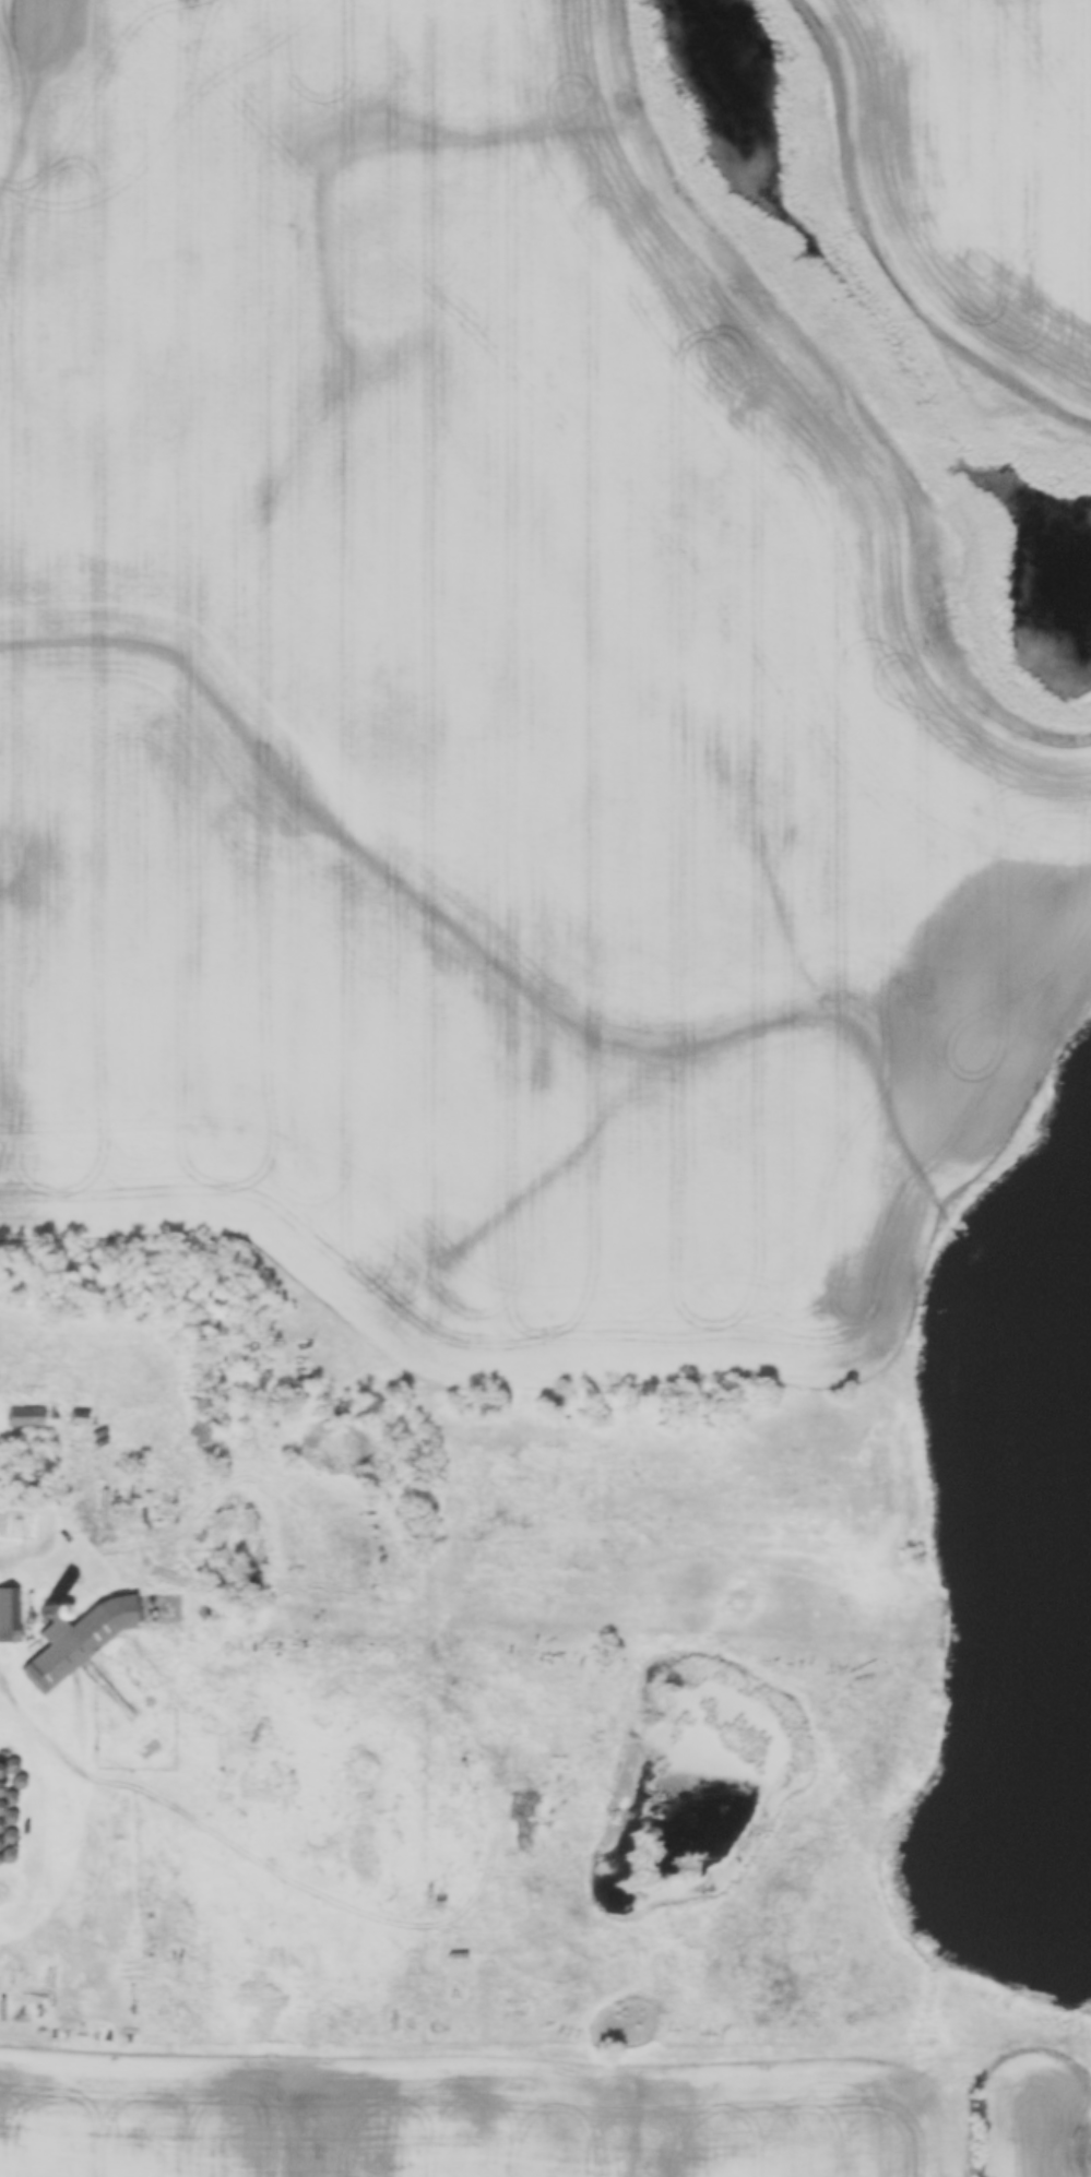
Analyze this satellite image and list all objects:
building: (25, 1418)
building: (9, 1617)
building: (102, 1633)
road: (82, 1781)

